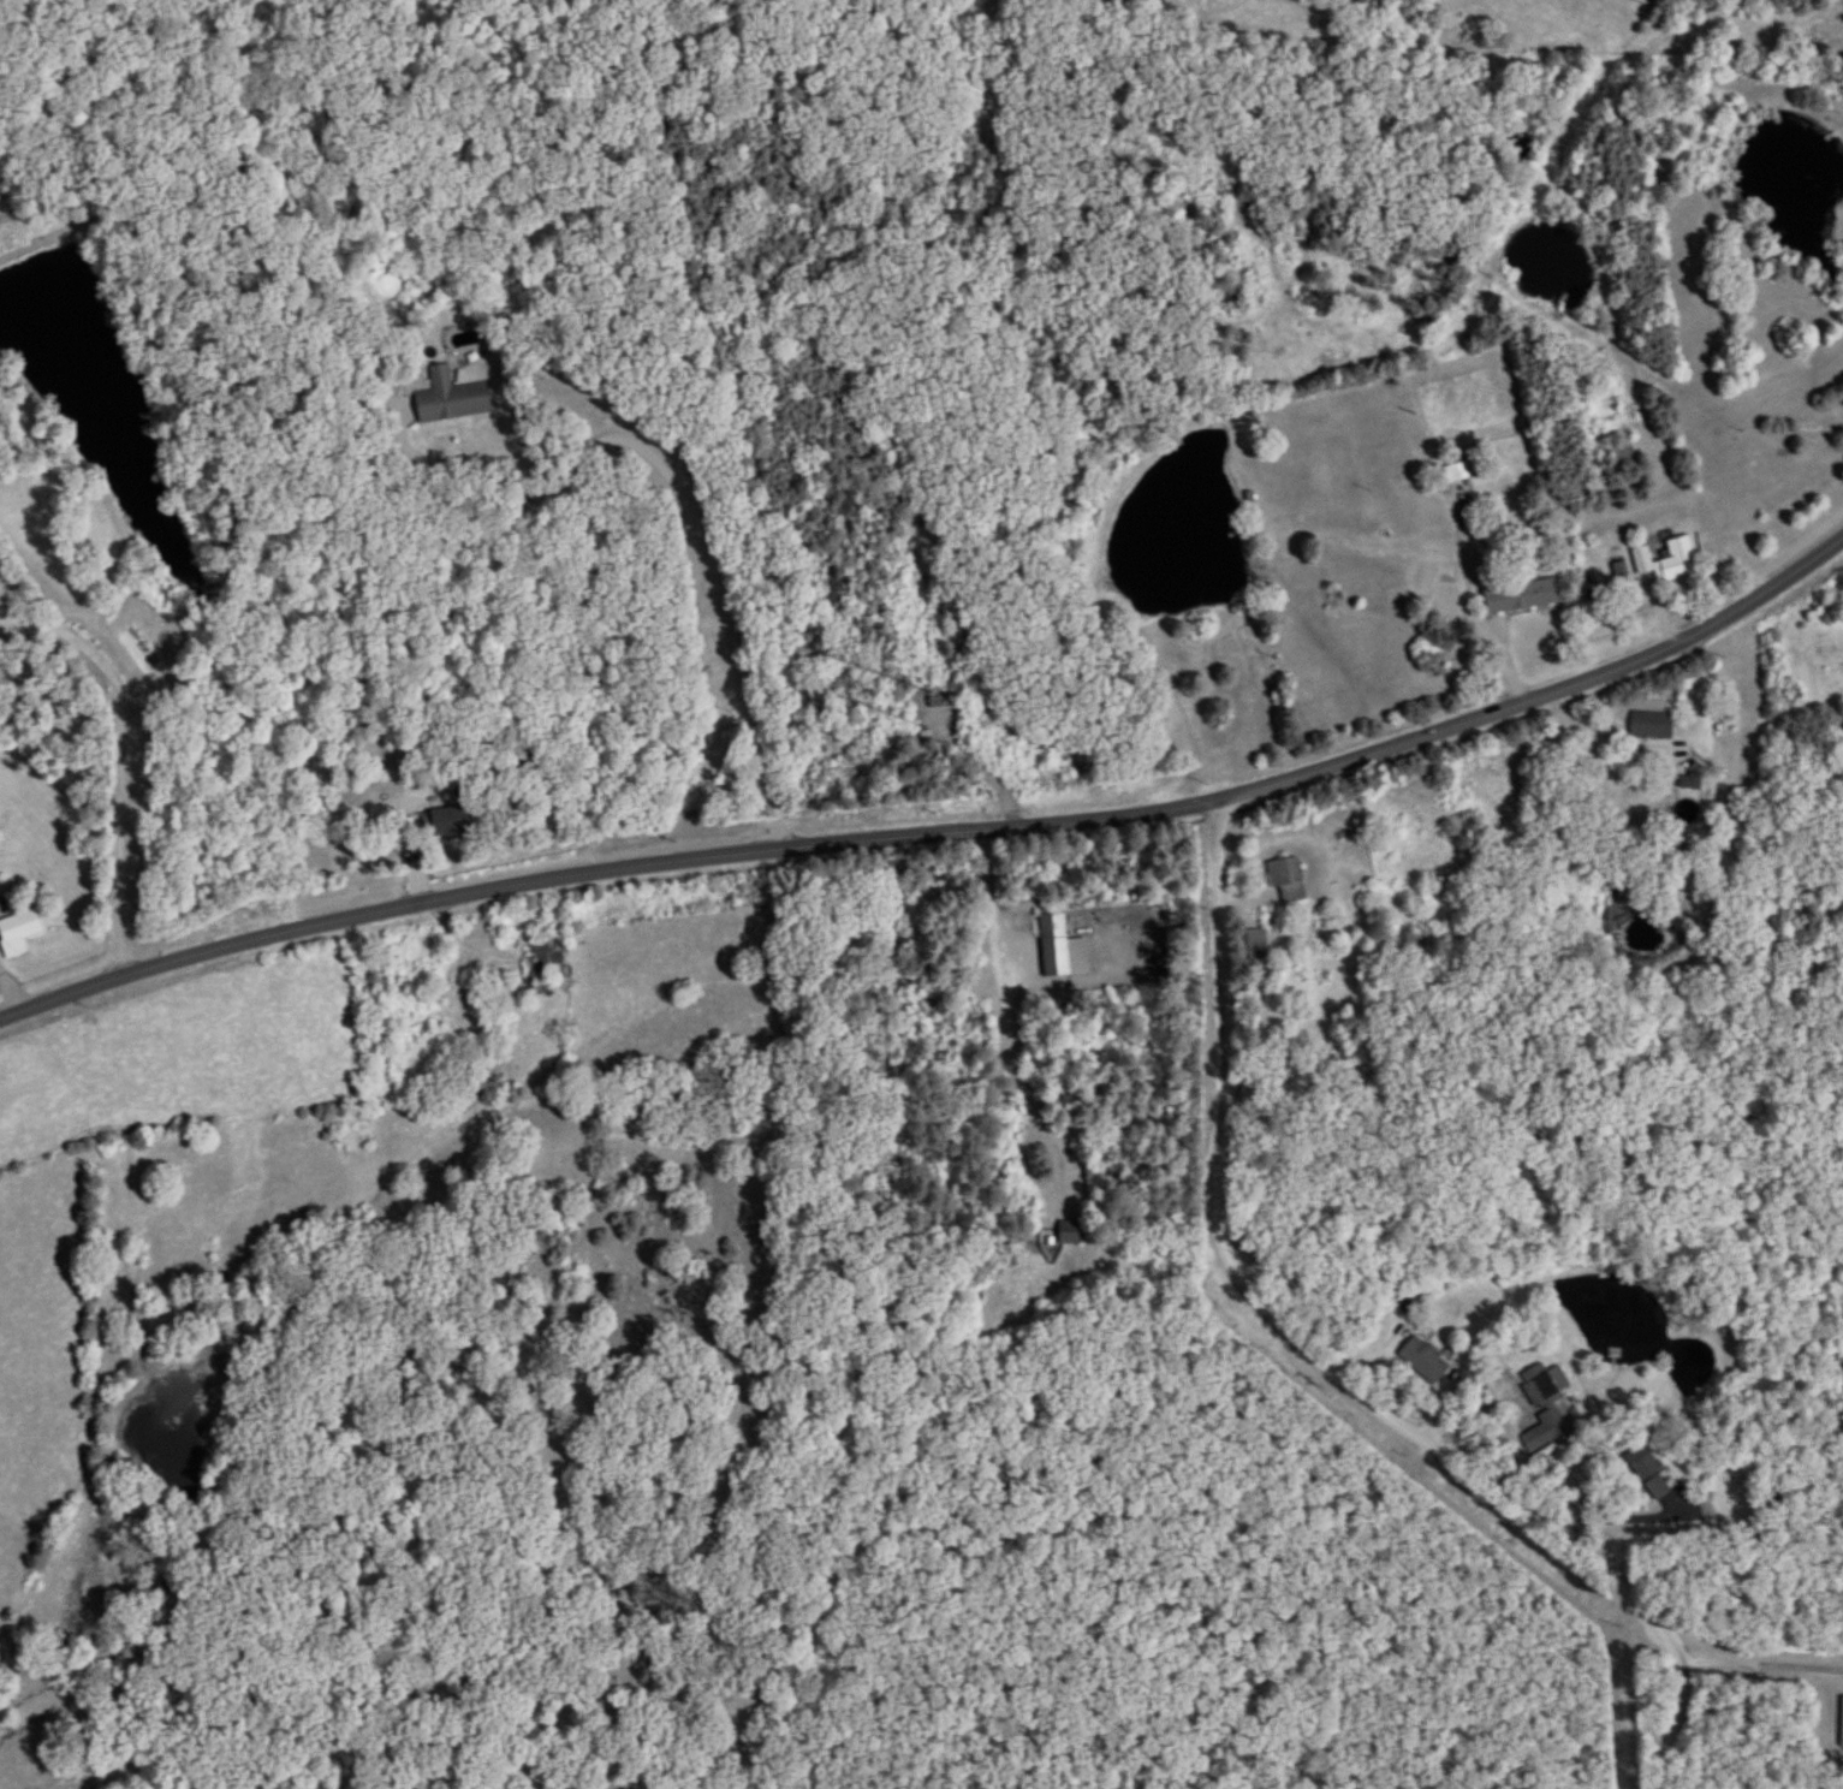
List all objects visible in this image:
building: (451, 398)
building: (1462, 466)
road: (689, 505)
building: (1679, 559)
building: (1642, 560)
building: (1518, 596)
road: (1472, 620)
building: (1651, 724)
road: (109, 761)
building: (1690, 781)
building: (451, 822)
road: (939, 831)
road: (409, 837)
building: (0, 845)
building: (1288, 879)
building: (18, 933)
building: (1254, 945)
building: (1062, 947)
building: (534, 977)
road: (16, 982)
road: (1009, 1020)
building: (1070, 1232)
building: (1425, 1360)
road: (1314, 1361)
building: (1546, 1403)
building: (1649, 1472)
building: (1711, 1482)
road: (1637, 1517)
road: (1761, 1660)

